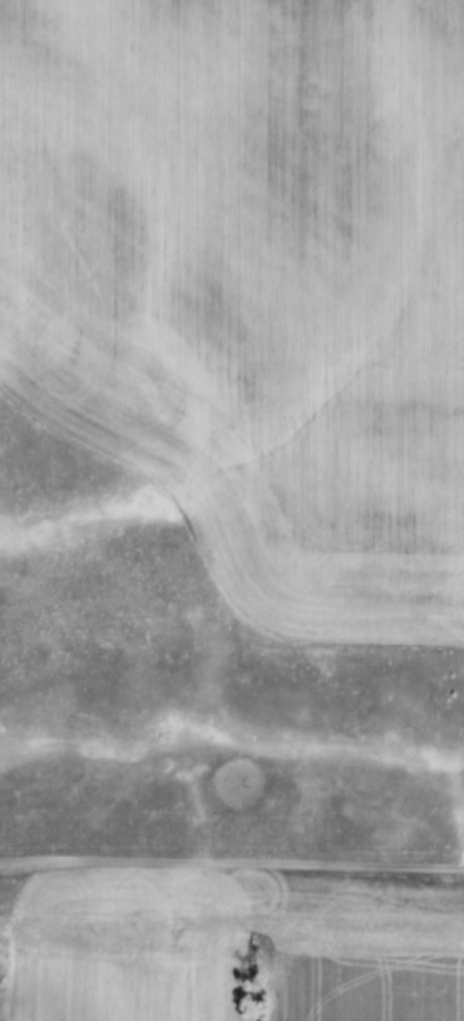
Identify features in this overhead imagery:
road: (231, 871)

